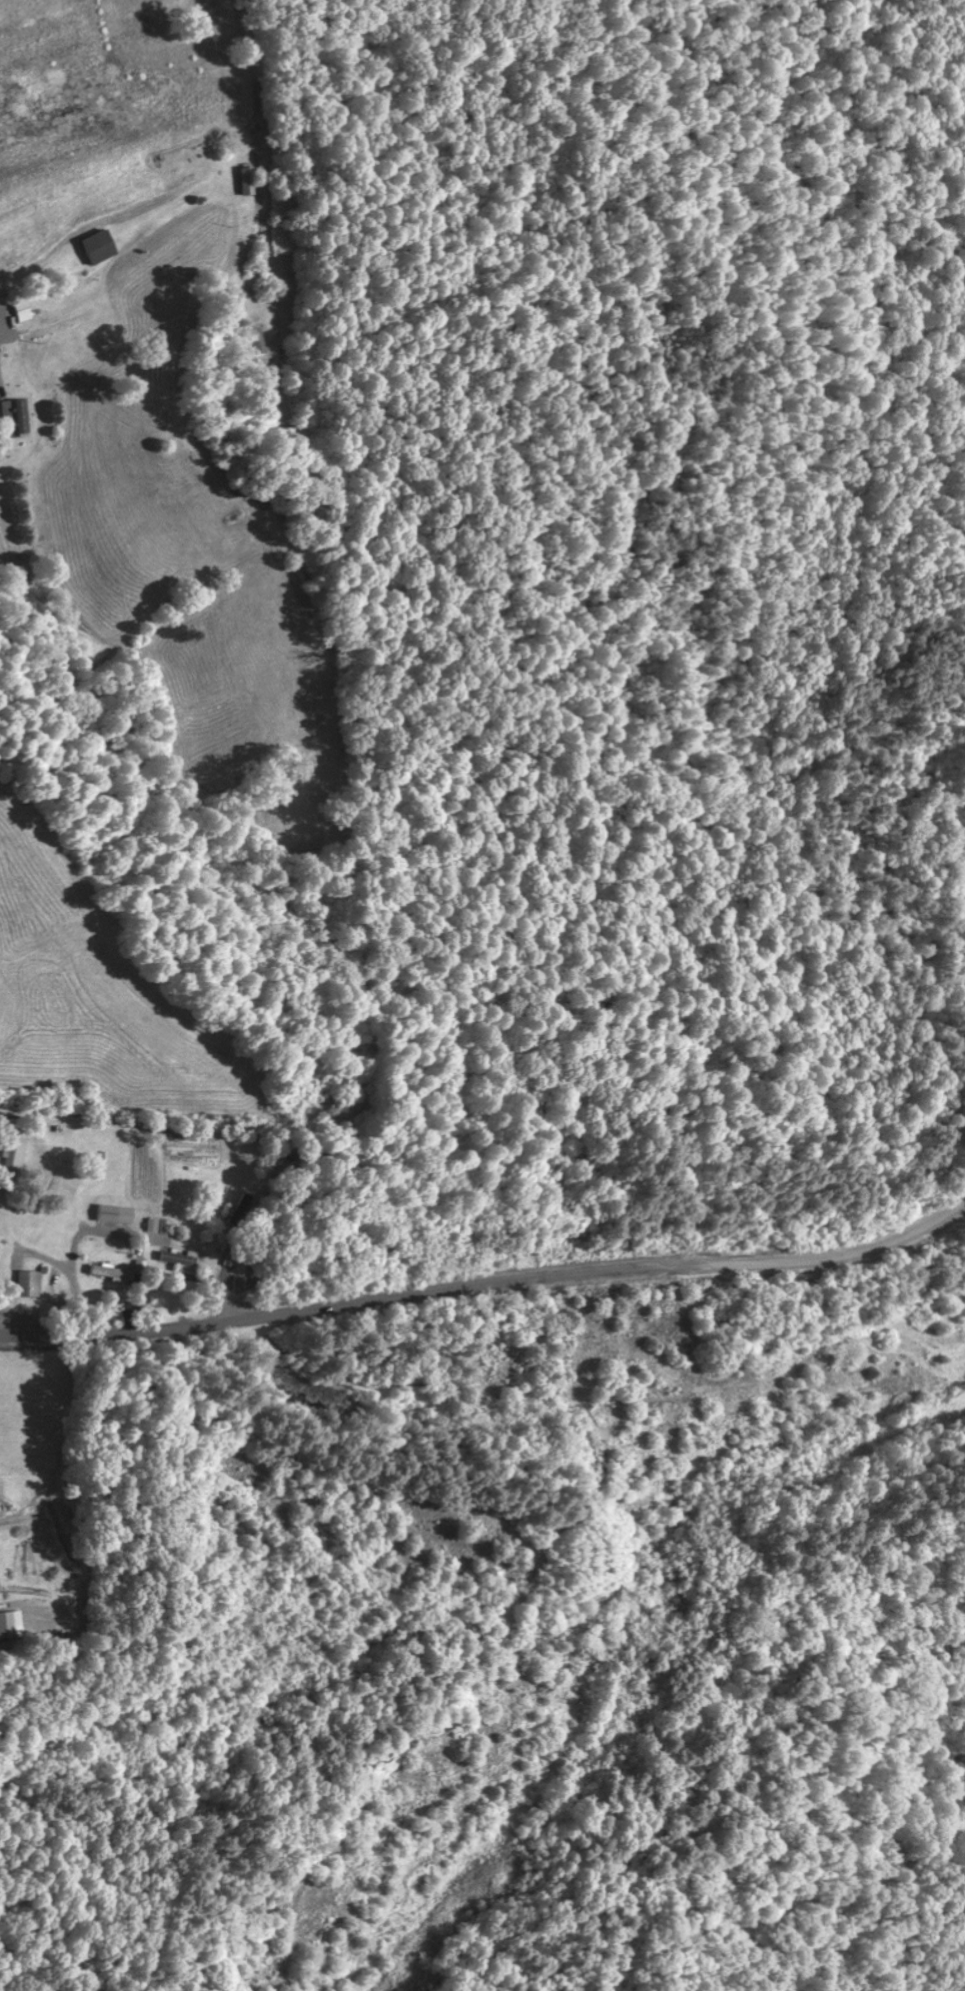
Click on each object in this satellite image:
building: (246, 181)
building: (98, 247)
building: (22, 310)
building: (20, 416)
building: (14, 1154)
building: (115, 1214)
building: (158, 1225)
building: (179, 1257)
building: (112, 1273)
building: (28, 1283)
road: (487, 1283)
building: (0, 1502)
building: (10, 1624)

